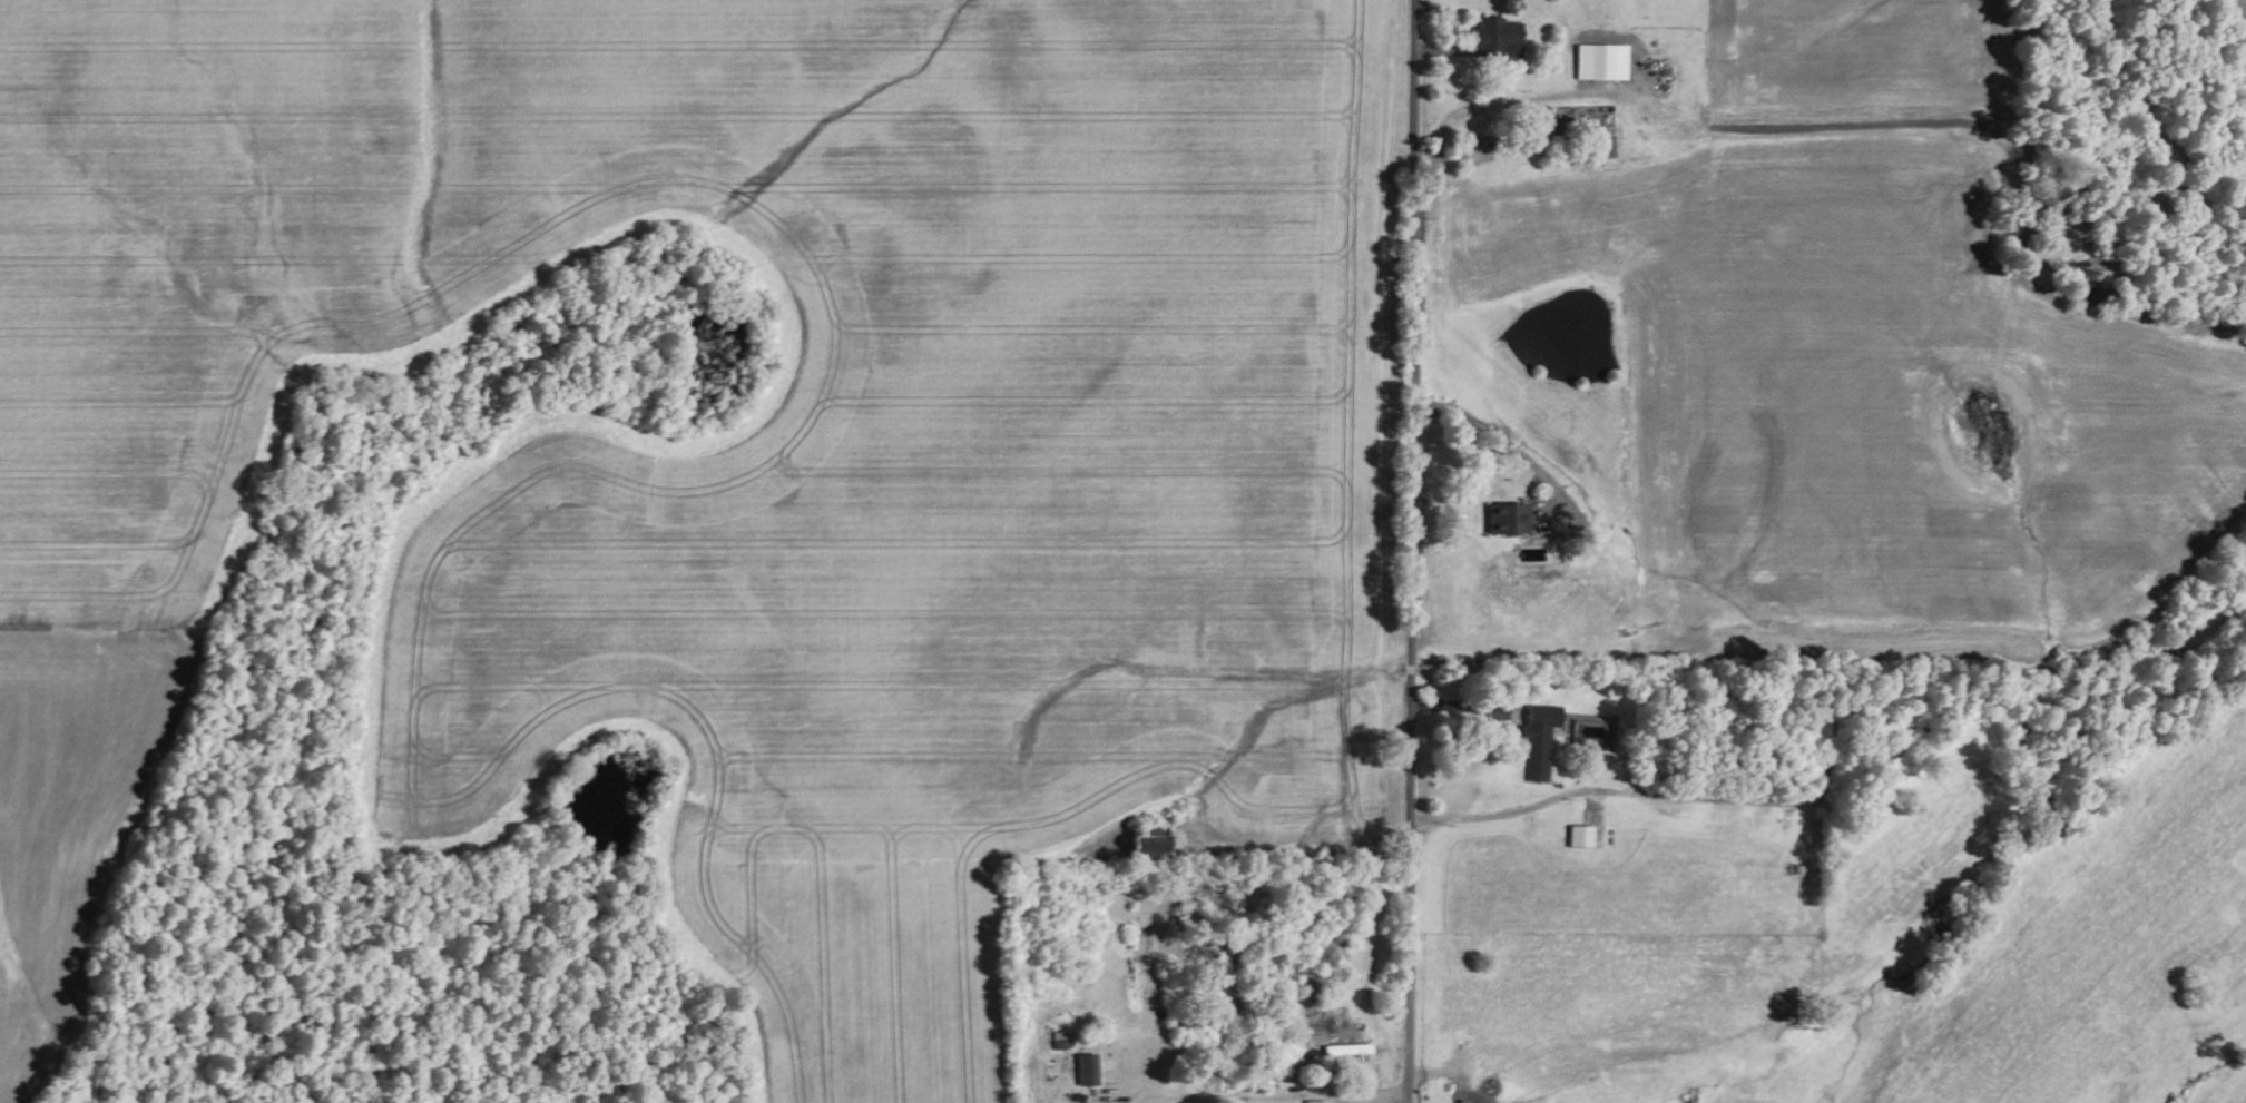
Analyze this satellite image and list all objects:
building: (1500, 37)
building: (1602, 62)
building: (1508, 520)
road: (1414, 551)
building: (1540, 740)
building: (1583, 836)
building: (1088, 1070)

